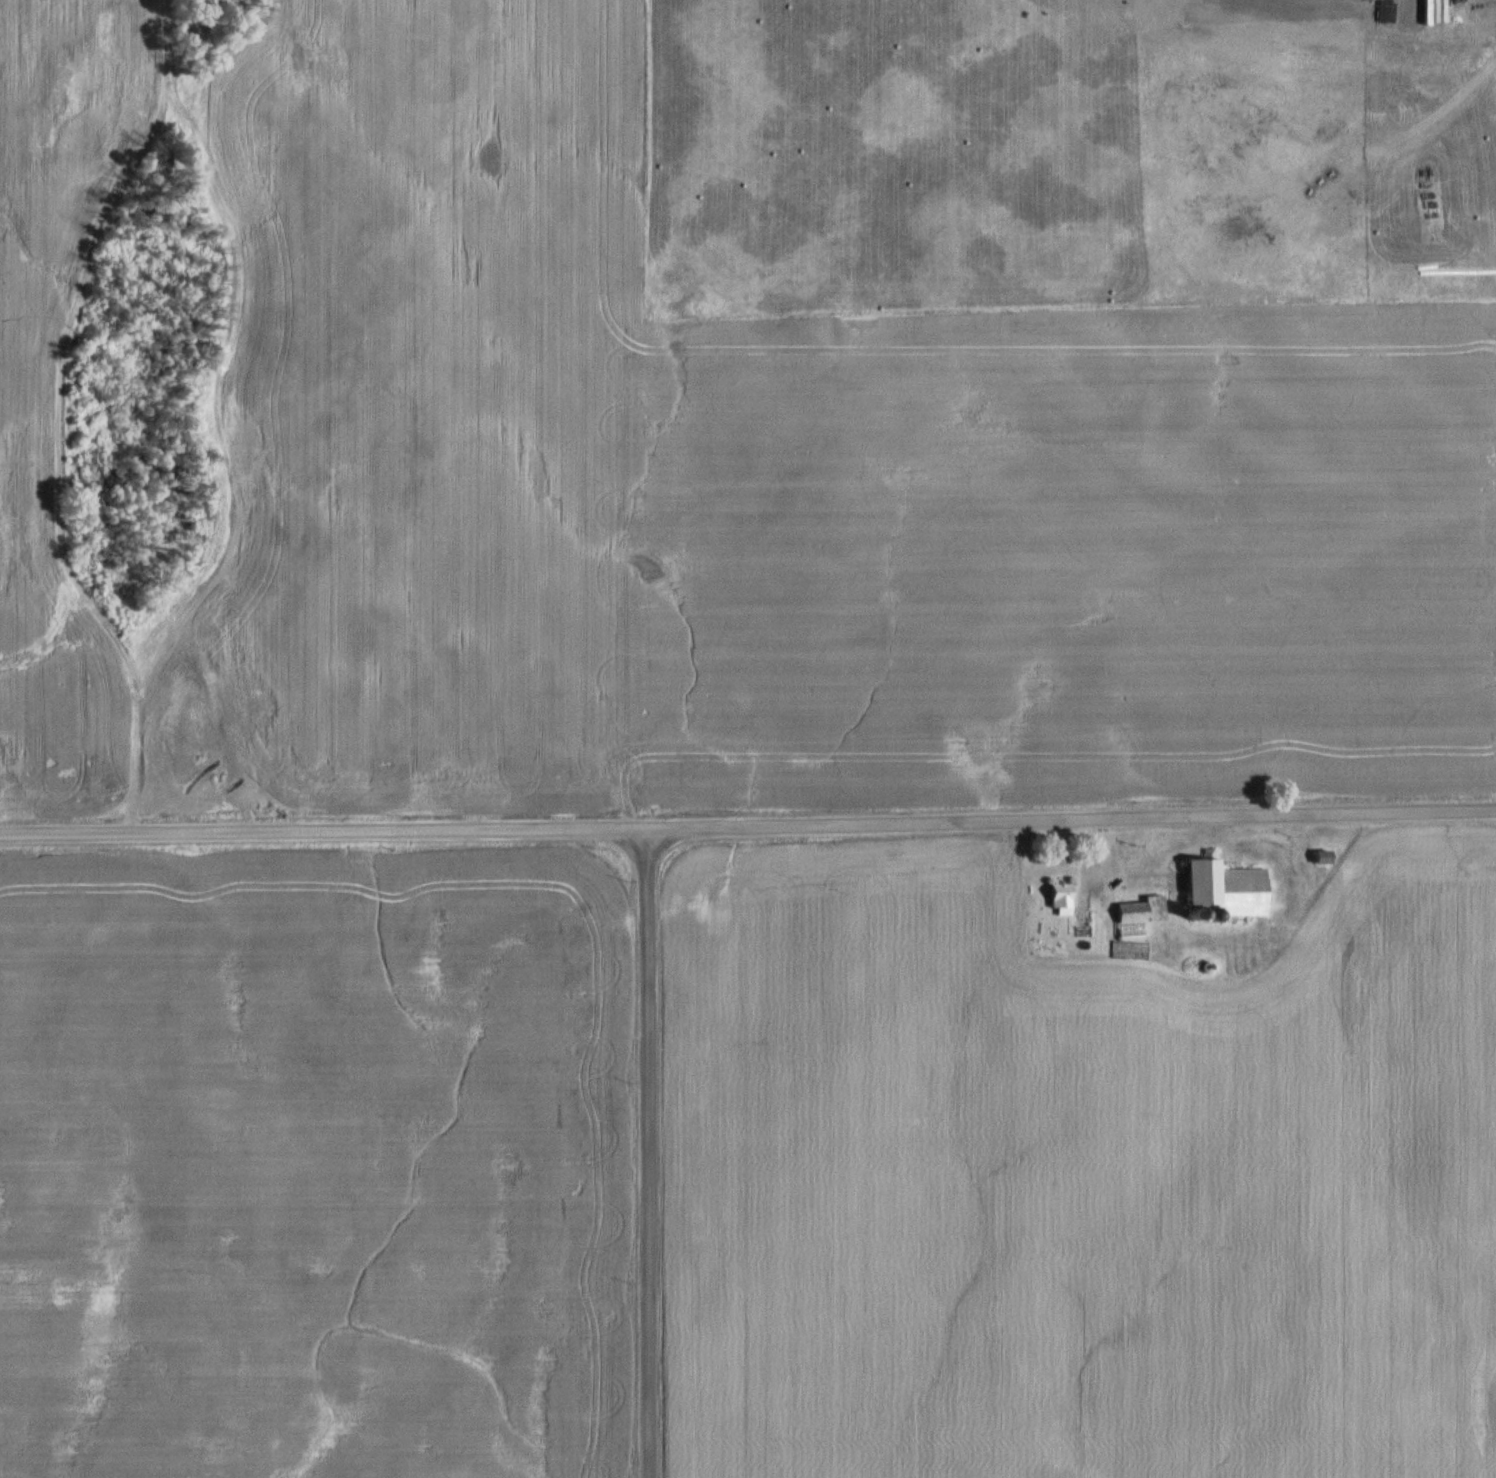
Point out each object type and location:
building: (1380, 7)
road: (748, 830)
building: (1316, 858)
building: (1190, 884)
building: (1054, 898)
building: (1135, 911)
building: (1077, 920)
road: (650, 1155)

